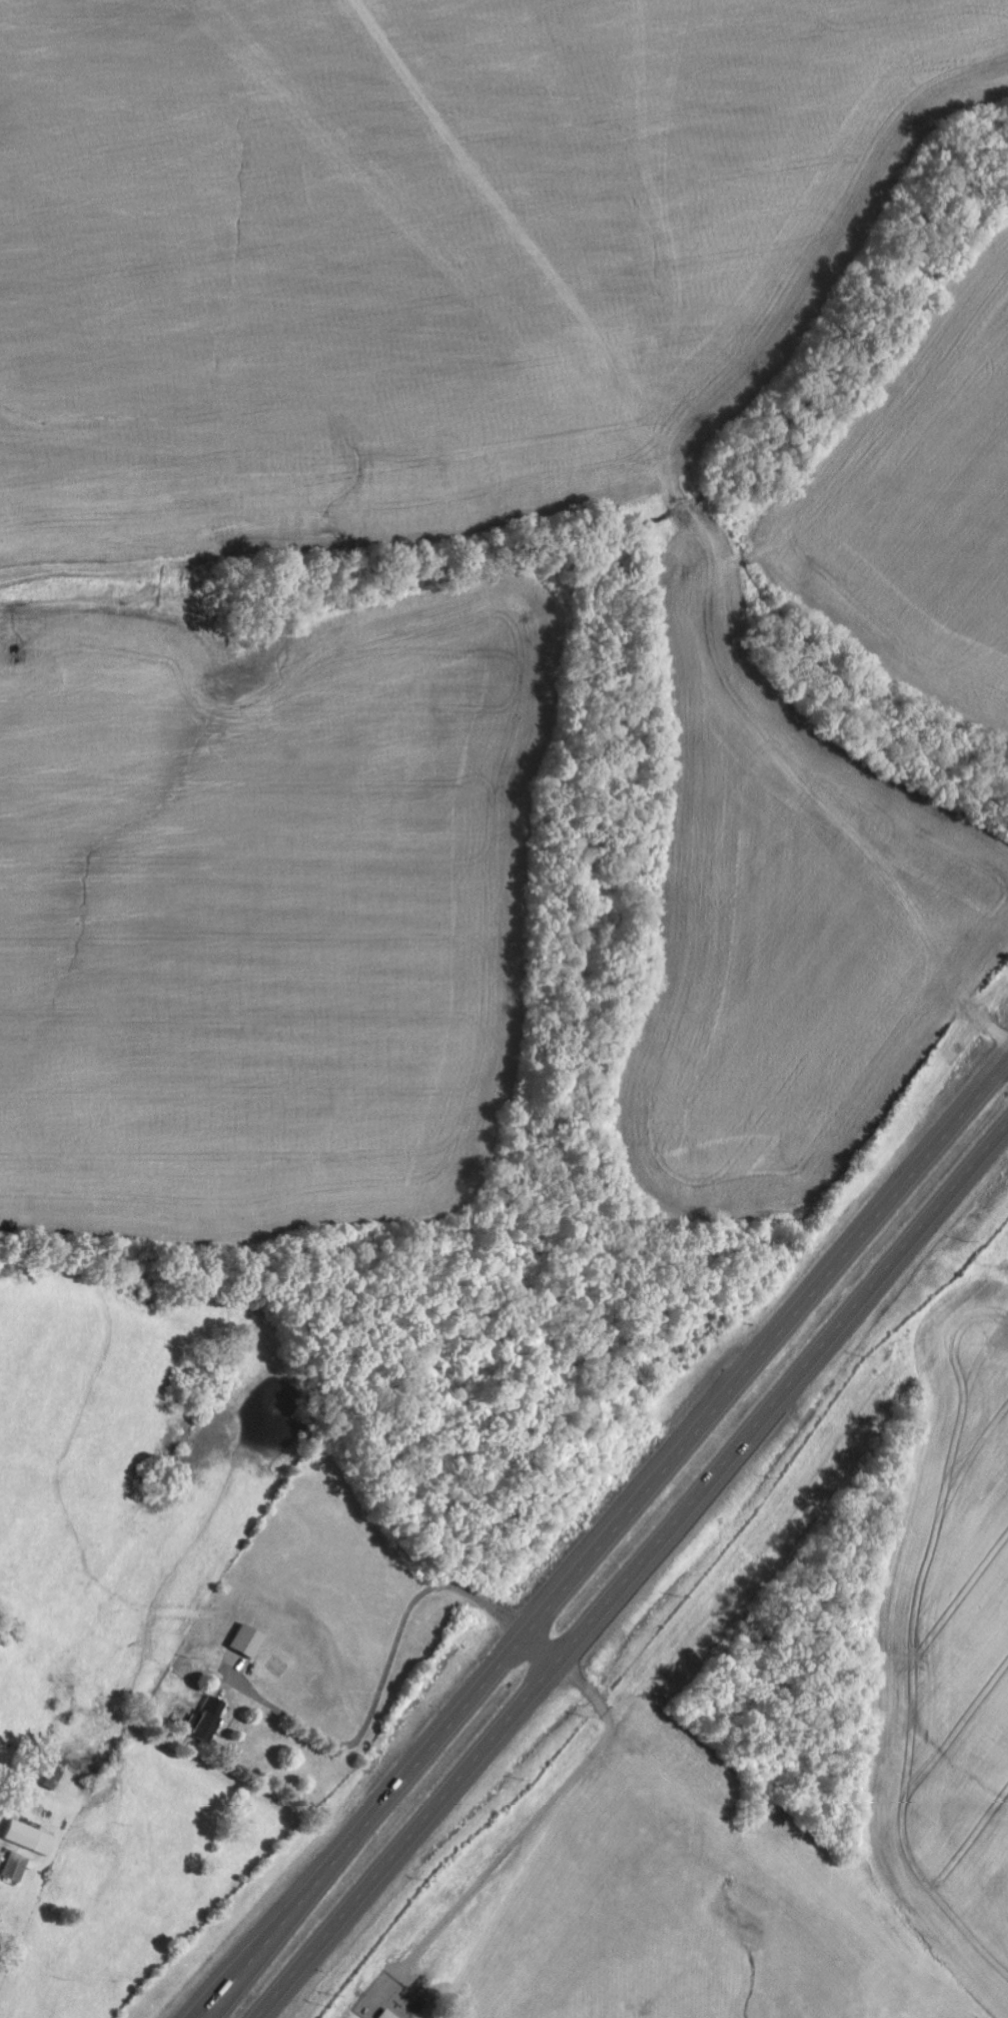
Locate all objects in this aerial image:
road: (605, 1538)
road: (636, 1575)
building: (247, 1642)
road: (384, 1679)
building: (208, 1721)
building: (53, 1777)
building: (29, 1839)
building: (17, 1868)
building: (388, 2014)

